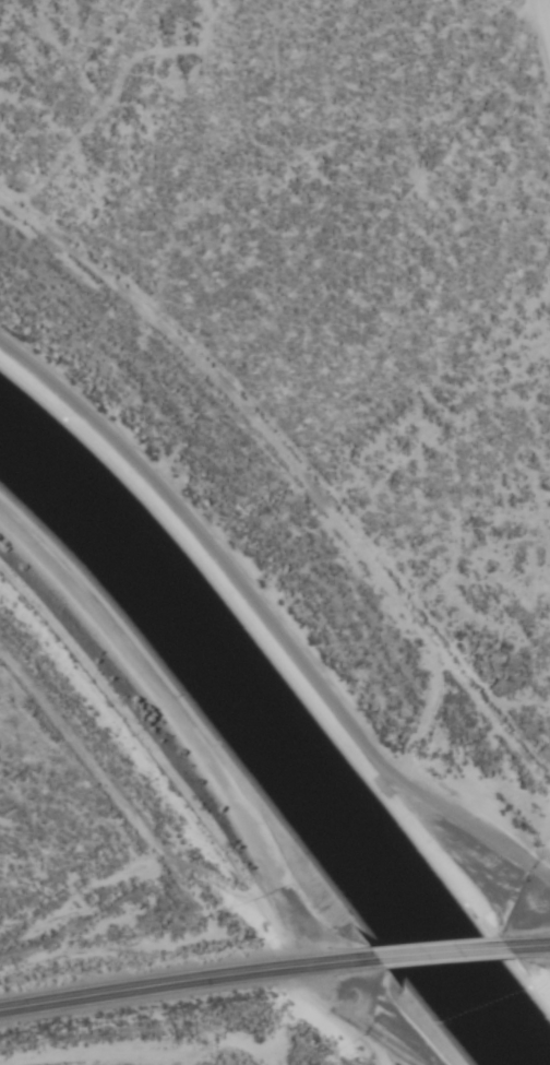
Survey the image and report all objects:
crop: (333, 285)
road: (288, 592)
road: (219, 801)
road: (274, 966)

